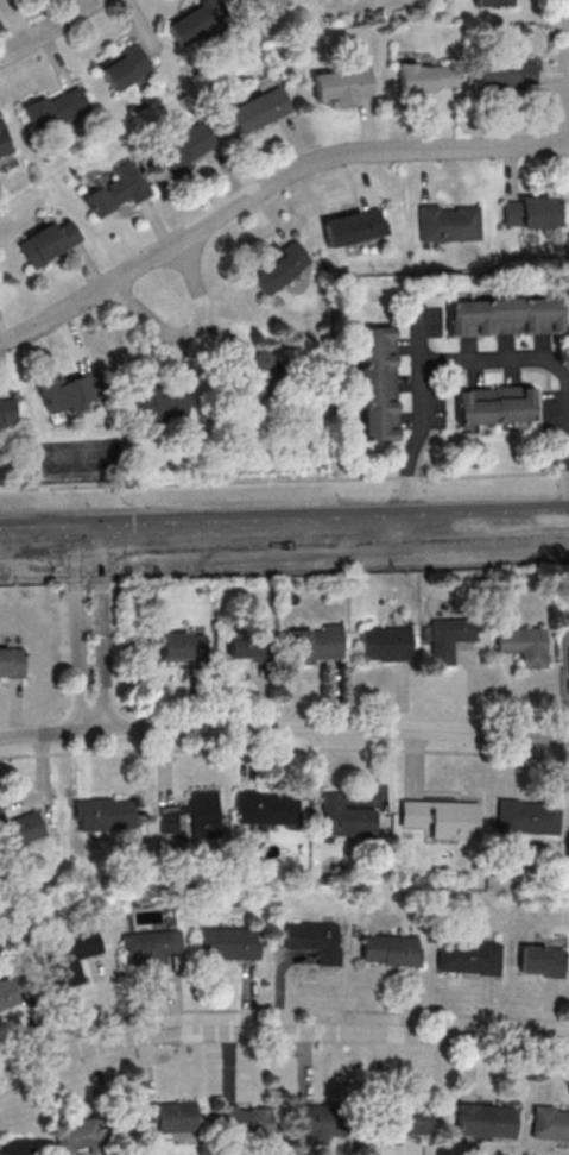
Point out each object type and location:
building: (494, 2)
building: (263, 4)
building: (200, 20)
road: (53, 32)
building: (507, 74)
building: (125, 77)
building: (428, 77)
building: (343, 84)
building: (260, 108)
building: (186, 146)
building: (6, 149)
road: (266, 187)
building: (531, 212)
building: (450, 224)
building: (354, 226)
building: (48, 247)
building: (505, 316)
road: (189, 329)
road: (423, 366)
building: (380, 382)
building: (77, 397)
building: (497, 408)
road: (285, 479)
road: (284, 529)
traffic signals: (88, 536)
road: (102, 632)
road: (76, 633)
building: (449, 638)
building: (386, 642)
building: (249, 644)
building: (317, 644)
building: (524, 645)
building: (185, 646)
building: (11, 661)
road: (337, 728)
road: (52, 733)
building: (268, 806)
building: (105, 812)
building: (194, 816)
building: (347, 817)
building: (444, 817)
building: (529, 817)
building: (20, 833)
building: (316, 940)
building: (230, 942)
building: (133, 947)
building: (392, 949)
building: (468, 956)
building: (74, 958)
building: (540, 960)
road: (280, 1034)
building: (170, 1116)
building: (245, 1118)
building: (409, 1121)
building: (487, 1121)
building: (551, 1123)
building: (318, 1124)
building: (75, 1135)
building: (14, 1147)

